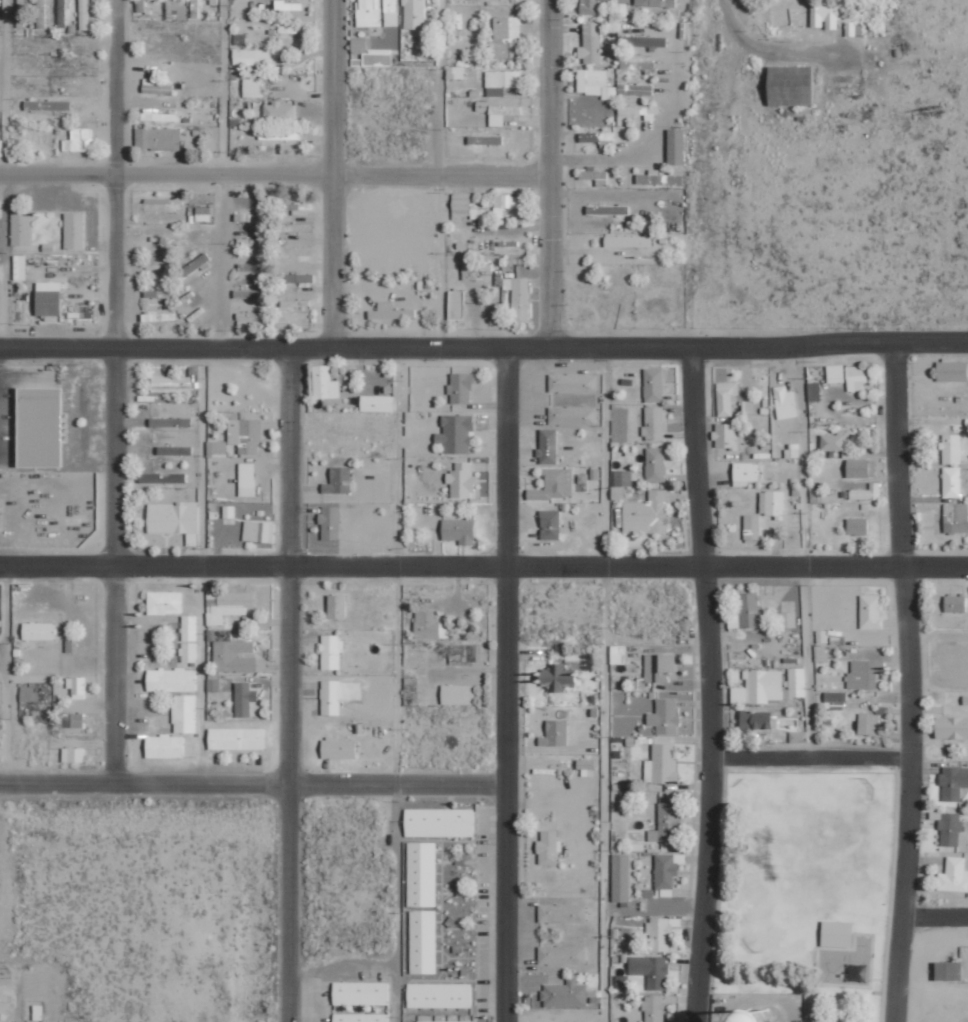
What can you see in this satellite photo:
building: (41, 1)
building: (392, 1)
building: (647, 2)
building: (284, 4)
building: (588, 6)
building: (62, 13)
building: (83, 14)
building: (413, 14)
building: (823, 16)
building: (506, 37)
building: (643, 41)
building: (591, 44)
road: (768, 50)
building: (370, 53)
building: (251, 56)
building: (637, 65)
building: (454, 72)
building: (500, 81)
building: (595, 83)
building: (788, 84)
building: (251, 87)
road: (5, 88)
road: (117, 88)
road: (223, 88)
road: (438, 88)
building: (635, 89)
building: (47, 105)
building: (278, 112)
building: (648, 112)
building: (502, 114)
building: (279, 135)
building: (157, 138)
building: (602, 138)
building: (79, 140)
building: (675, 146)
road: (334, 173)
road: (549, 173)
building: (592, 174)
road: (274, 176)
building: (658, 178)
road: (595, 194)
building: (505, 203)
building: (461, 204)
building: (296, 208)
building: (607, 209)
building: (478, 213)
building: (207, 215)
building: (20, 227)
building: (296, 227)
building: (73, 230)
building: (627, 241)
road: (117, 261)
road: (222, 261)
building: (194, 266)
building: (250, 267)
building: (477, 267)
building: (296, 278)
building: (247, 293)
building: (519, 296)
building: (47, 298)
building: (455, 303)
building: (389, 312)
building: (247, 318)
road: (59, 347)
road: (543, 347)
building: (952, 371)
building: (835, 373)
building: (854, 379)
building: (174, 383)
building: (324, 383)
building: (572, 383)
building: (653, 384)
building: (460, 388)
building: (813, 391)
building: (725, 397)
building: (377, 403)
building: (784, 403)
building: (572, 415)
building: (169, 422)
building: (653, 423)
building: (43, 429)
building: (455, 434)
building: (245, 435)
building: (725, 435)
building: (839, 443)
building: (547, 446)
building: (216, 447)
building: (951, 449)
building: (655, 464)
building: (860, 468)
building: (744, 473)
building: (161, 478)
building: (246, 479)
building: (338, 480)
building: (461, 481)
building: (621, 482)
building: (951, 482)
building: (554, 485)
building: (867, 492)
building: (771, 503)
building: (646, 514)
building: (172, 517)
building: (956, 517)
building: (330, 522)
building: (549, 524)
building: (857, 526)
building: (751, 527)
building: (259, 531)
building: (457, 531)
road: (805, 552)
road: (117, 565)
road: (202, 565)
road: (291, 565)
road: (398, 565)
road: (483, 567)
building: (163, 602)
building: (954, 603)
building: (233, 604)
building: (336, 606)
building: (746, 612)
building: (870, 612)
building: (788, 620)
building: (429, 626)
building: (189, 628)
building: (37, 631)
building: (189, 652)
building: (330, 652)
building: (464, 654)
building: (617, 654)
building: (232, 657)
building: (657, 667)
road: (6, 674)
building: (863, 674)
building: (557, 677)
building: (171, 680)
road: (506, 684)
road: (603, 684)
road: (706, 684)
road: (907, 684)
building: (769, 686)
building: (76, 687)
building: (28, 694)
building: (457, 694)
building: (243, 699)
building: (331, 699)
building: (834, 700)
building: (186, 714)
building: (664, 716)
building: (73, 720)
building: (755, 722)
building: (868, 724)
building: (951, 728)
building: (554, 733)
building: (797, 737)
building: (236, 739)
building: (160, 746)
building: (338, 748)
building: (72, 755)
road: (809, 757)
building: (661, 764)
building: (586, 767)
building: (953, 782)
road: (354, 784)
building: (439, 823)
building: (664, 823)
building: (950, 829)
building: (547, 848)
building: (664, 871)
building: (421, 874)
building: (954, 876)
building: (620, 878)
road: (290, 903)
building: (561, 913)
road: (934, 916)
building: (659, 934)
building: (836, 934)
building: (422, 942)
building: (561, 955)
building: (650, 970)
building: (947, 971)
building: (360, 994)
building: (565, 994)
building: (439, 996)
building: (654, 1008)
building: (383, 1019)
building: (746, 1019)
building: (432, 1021)

